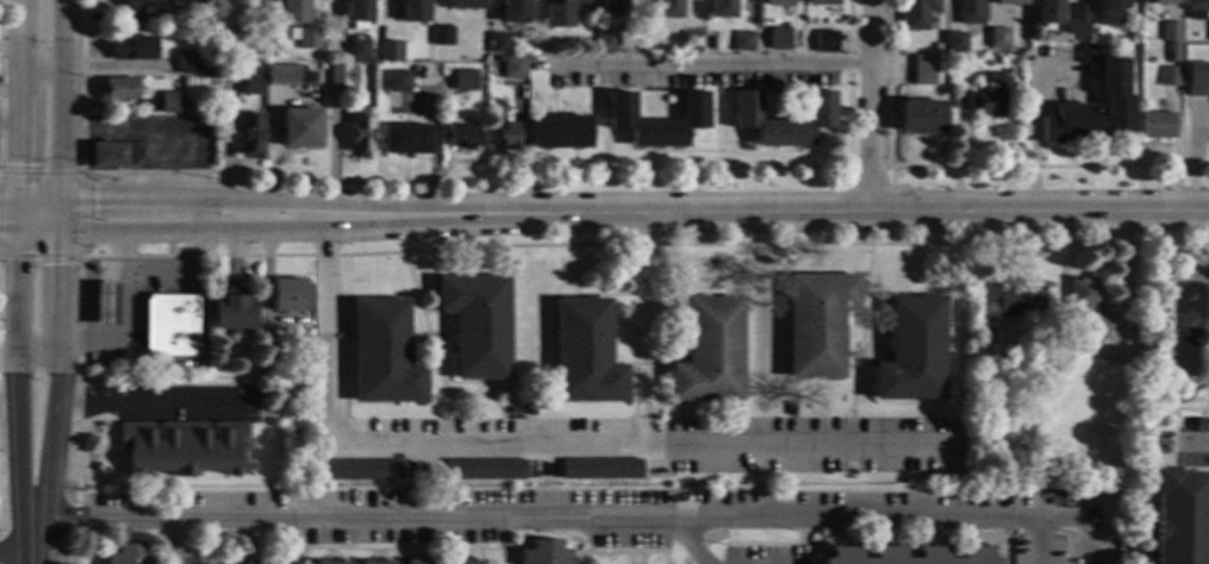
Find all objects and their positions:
building: (199, 0)
building: (1159, 1)
building: (822, 2)
building: (1011, 2)
building: (462, 4)
building: (775, 4)
building: (145, 7)
building: (612, 10)
building: (666, 10)
building: (719, 10)
building: (1197, 10)
building: (357, 11)
building: (413, 11)
building: (292, 12)
building: (513, 12)
building: (968, 12)
building: (1110, 12)
building: (1048, 13)
building: (557, 14)
building: (917, 14)
building: (1076, 25)
building: (442, 36)
road: (61, 37)
building: (304, 38)
building: (778, 38)
building: (1114, 38)
building: (606, 39)
building: (998, 39)
building: (1172, 39)
building: (1208, 40)
building: (691, 42)
building: (742, 42)
building: (497, 43)
building: (825, 43)
building: (952, 48)
building: (1023, 48)
building: (132, 49)
building: (359, 49)
building: (390, 52)
building: (1089, 54)
building: (999, 61)
building: (188, 62)
road: (700, 64)
building: (513, 69)
building: (923, 71)
building: (207, 73)
road: (42, 74)
building: (283, 76)
building: (341, 76)
building: (309, 77)
building: (1171, 77)
building: (1198, 79)
building: (463, 80)
building: (398, 81)
building: (254, 86)
building: (118, 89)
road: (21, 99)
building: (1117, 100)
road: (1134, 100)
building: (984, 101)
building: (170, 102)
road: (871, 105)
building: (746, 106)
road: (715, 107)
building: (618, 108)
building: (921, 118)
road: (1032, 119)
road: (11, 125)
building: (1158, 126)
building: (300, 129)
road: (155, 131)
building: (557, 132)
building: (361, 133)
road: (60, 136)
building: (250, 137)
building: (461, 137)
building: (505, 137)
building: (406, 140)
road: (718, 151)
building: (118, 155)
road: (1192, 157)
road: (715, 159)
traffic signals: (21, 164)
road: (965, 167)
road: (461, 177)
road: (891, 183)
road: (10, 200)
road: (39, 200)
traffic signals: (95, 200)
road: (322, 202)
road: (896, 211)
road: (82, 214)
road: (20, 217)
road: (58, 217)
road: (320, 231)
road: (10, 233)
road: (39, 233)
road: (193, 239)
road: (535, 244)
road: (120, 257)
traffic signals: (58, 264)
road: (58, 292)
road: (864, 293)
road: (892, 293)
road: (646, 294)
road: (372, 295)
building: (1084, 295)
building: (287, 296)
building: (1005, 300)
building: (105, 305)
road: (124, 311)
building: (232, 311)
road: (428, 311)
building: (816, 322)
building: (475, 325)
building: (169, 326)
building: (1096, 327)
road: (642, 328)
road: (855, 341)
building: (272, 346)
road: (37, 349)
building: (911, 351)
building: (709, 352)
building: (584, 353)
building: (1011, 353)
building: (382, 355)
road: (434, 358)
road: (864, 363)
road: (646, 364)
road: (848, 364)
road: (430, 368)
building: (1042, 376)
road: (481, 382)
road: (852, 384)
road: (15, 393)
road: (56, 396)
road: (819, 399)
road: (88, 406)
road: (166, 406)
building: (791, 409)
building: (512, 412)
road: (451, 432)
road: (503, 432)
road: (828, 433)
road: (848, 433)
road: (1195, 443)
road: (531, 445)
building: (181, 447)
road: (1163, 449)
road: (1149, 460)
road: (1179, 466)
building: (357, 470)
building: (482, 470)
building: (600, 470)
building: (305, 483)
road: (80, 495)
road: (43, 497)
road: (557, 513)
building: (1180, 518)
road: (800, 528)
road: (881, 535)
road: (87, 539)
road: (175, 539)
road: (1042, 539)
road: (1089, 539)
road: (691, 540)
road: (405, 545)
road: (163, 549)
road: (625, 550)
road: (420, 551)
road: (331, 552)
road: (375, 552)
road: (478, 552)
road: (510, 552)
building: (845, 552)
road: (17, 553)
road: (420, 553)
road: (466, 553)
building: (543, 553)
road: (330, 554)
road: (375, 554)
road: (460, 554)
road: (574, 554)
building: (129, 556)
road: (611, 557)
road: (631, 557)
road: (644, 557)
road: (33, 558)
road: (254, 558)
road: (572, 559)
building: (363, 562)
building: (422, 562)
building: (466, 562)
road: (667, 562)
building: (331, 563)

